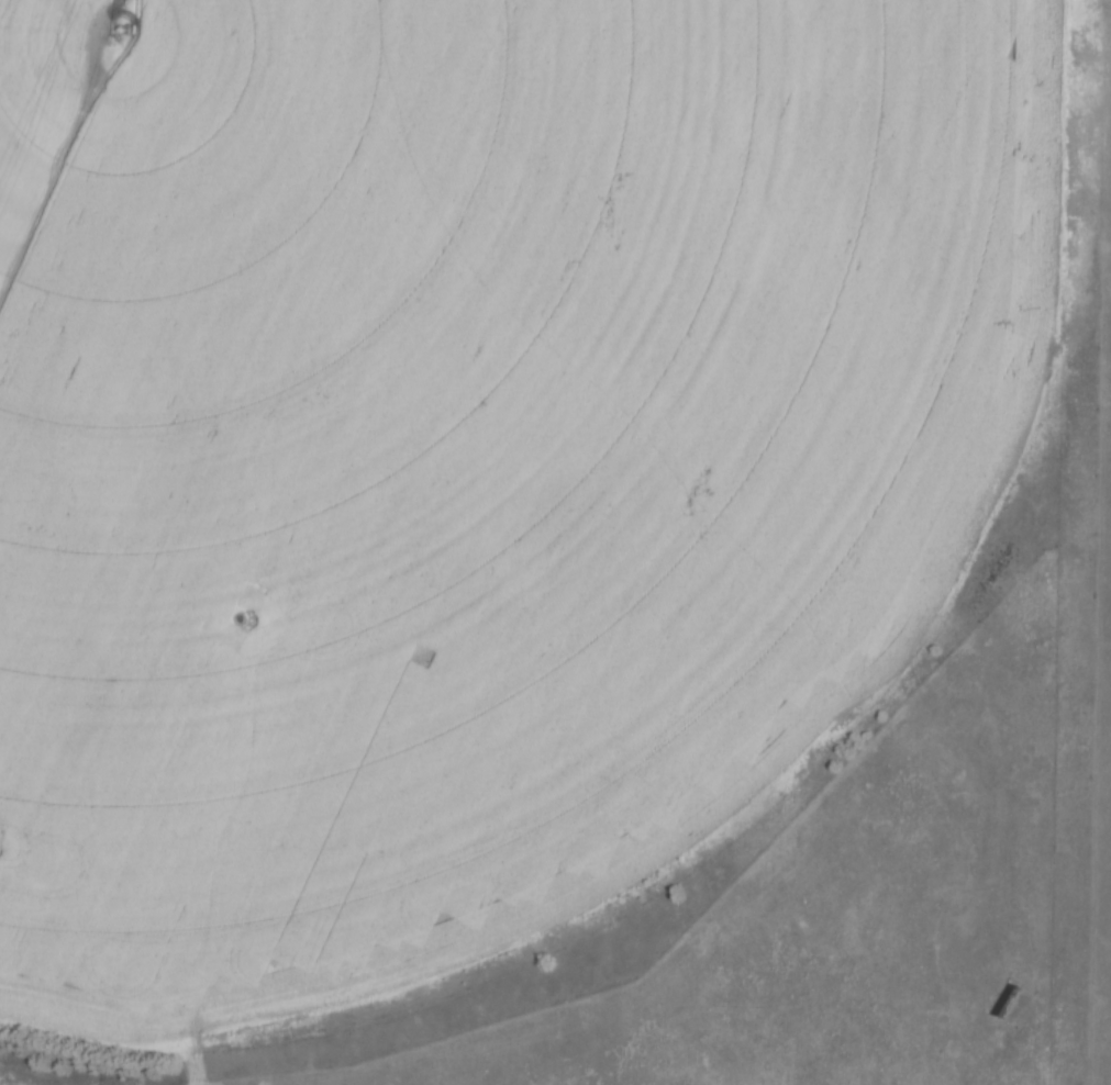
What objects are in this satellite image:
crop: (471, 448)

